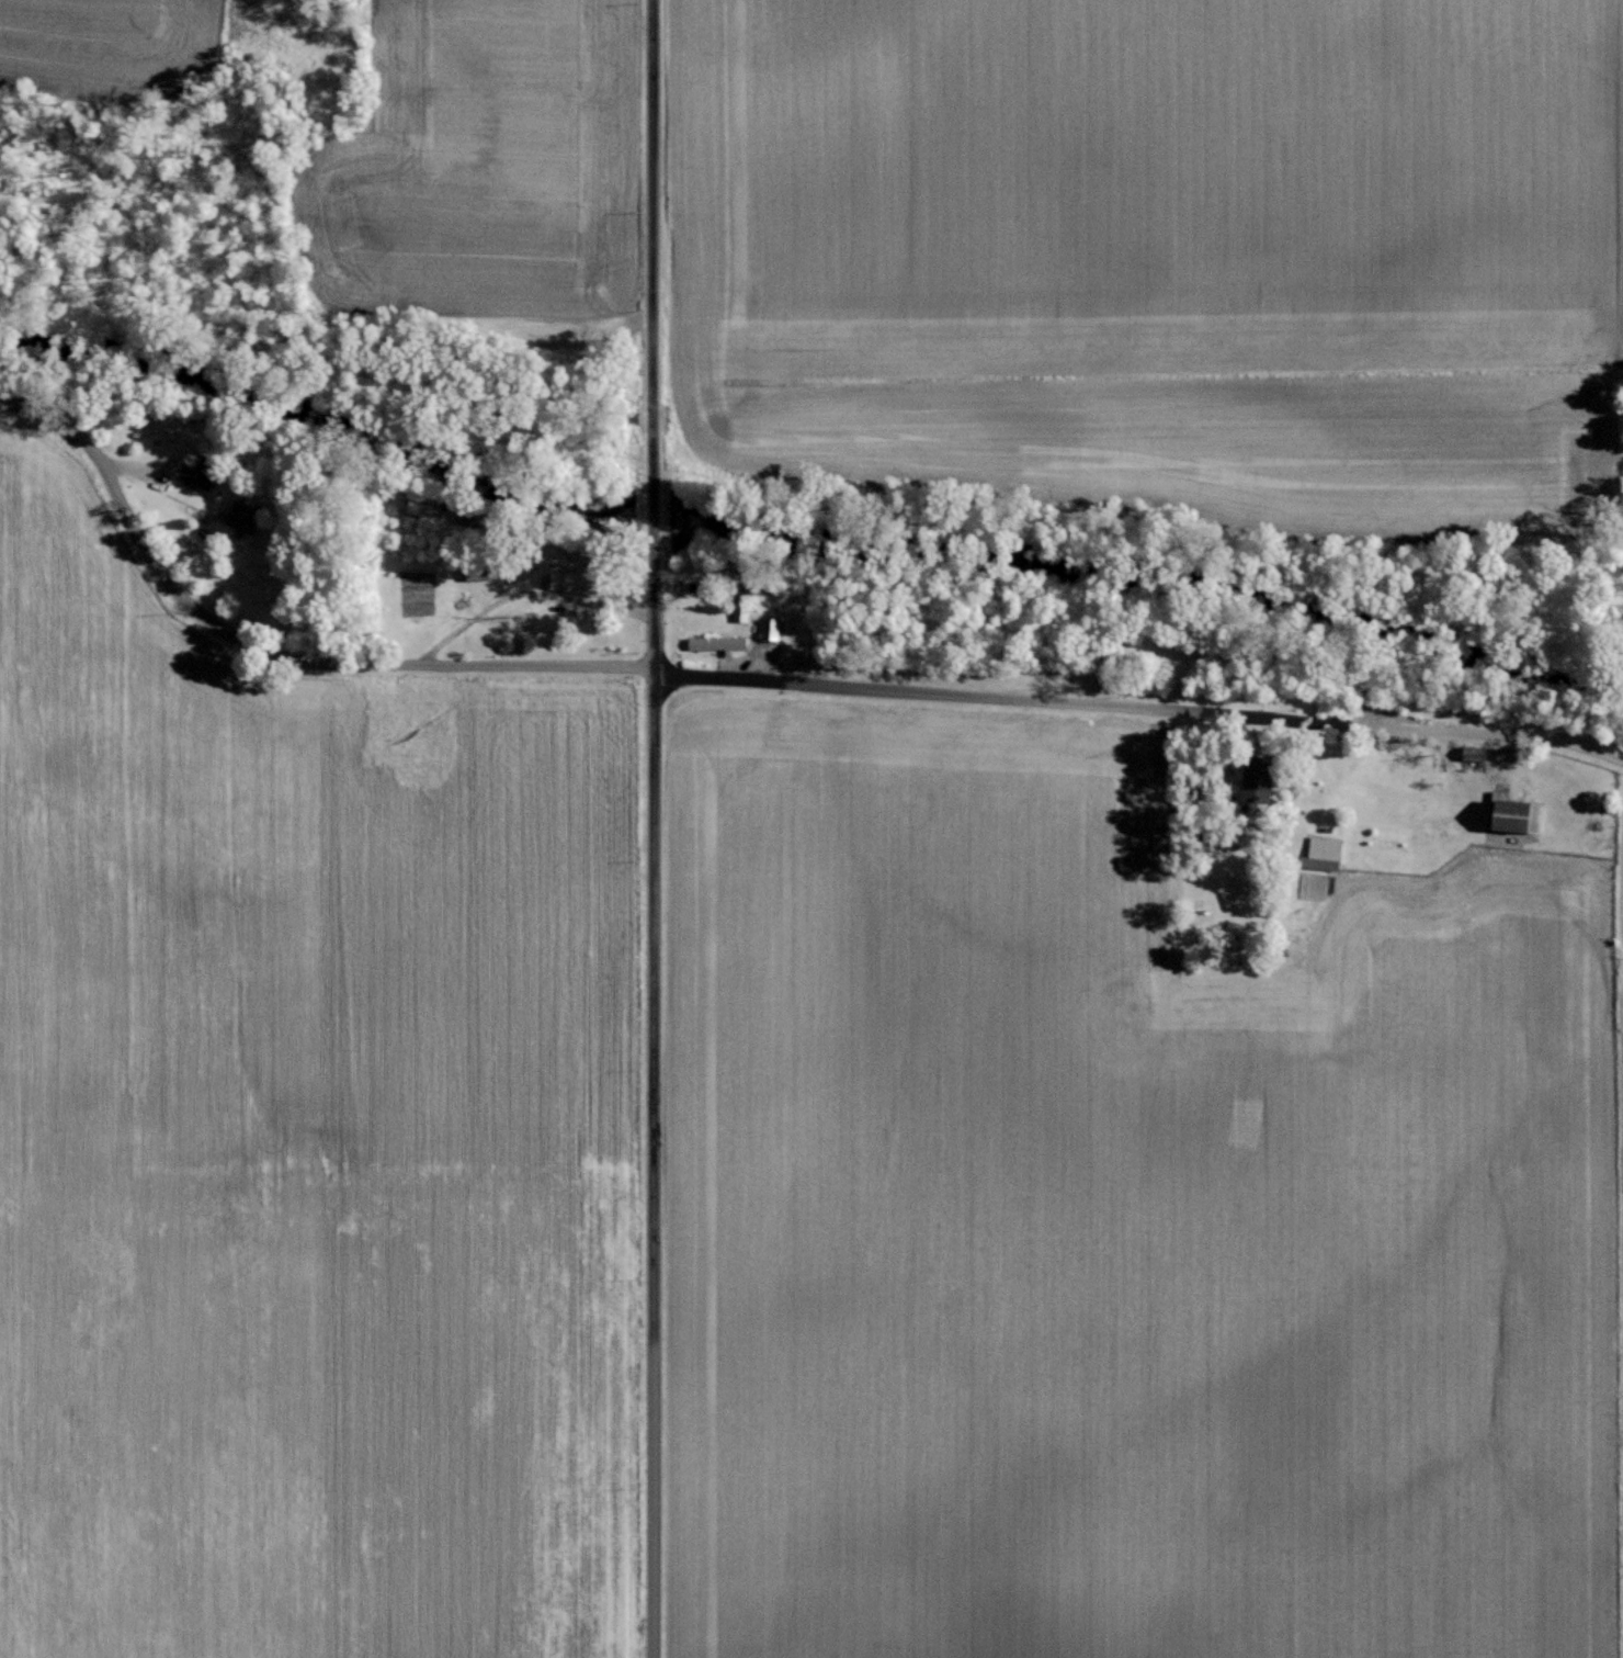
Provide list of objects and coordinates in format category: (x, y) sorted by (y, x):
road: (651, 243)
building: (207, 476)
river: (803, 500)
building: (247, 518)
road: (652, 523)
building: (577, 579)
building: (772, 628)
building: (720, 642)
road: (269, 651)
road: (1139, 708)
building: (1325, 849)
road: (652, 1108)

